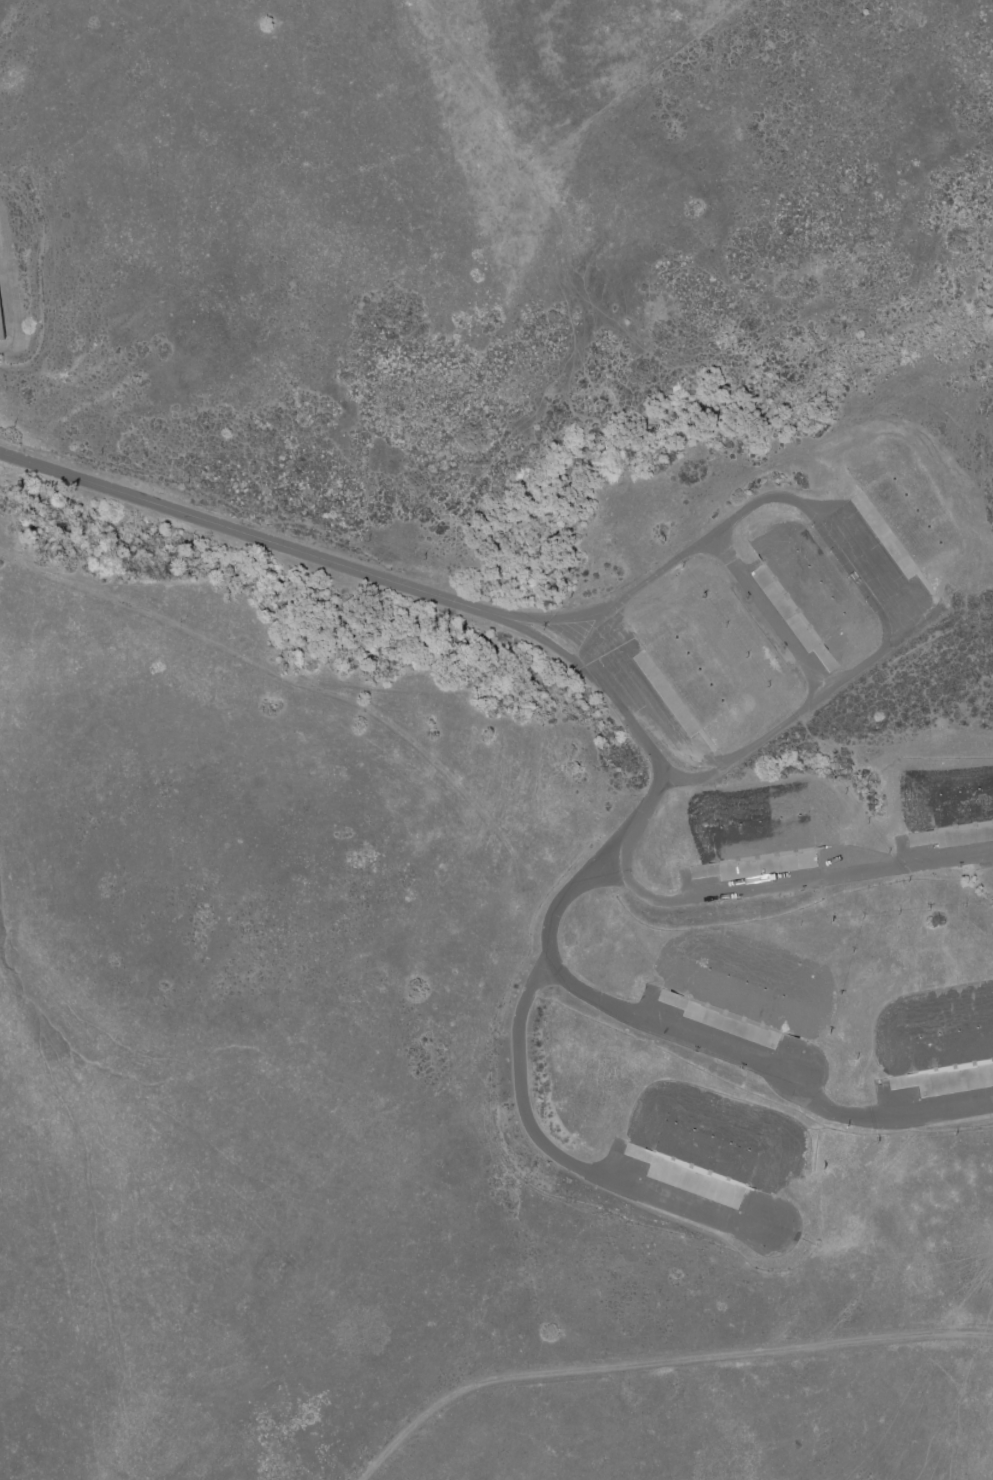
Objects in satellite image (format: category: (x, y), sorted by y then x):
building: (1, 326)
road: (257, 538)
road: (771, 616)
road: (856, 675)
road: (750, 892)
road: (706, 1039)
road: (562, 1160)

